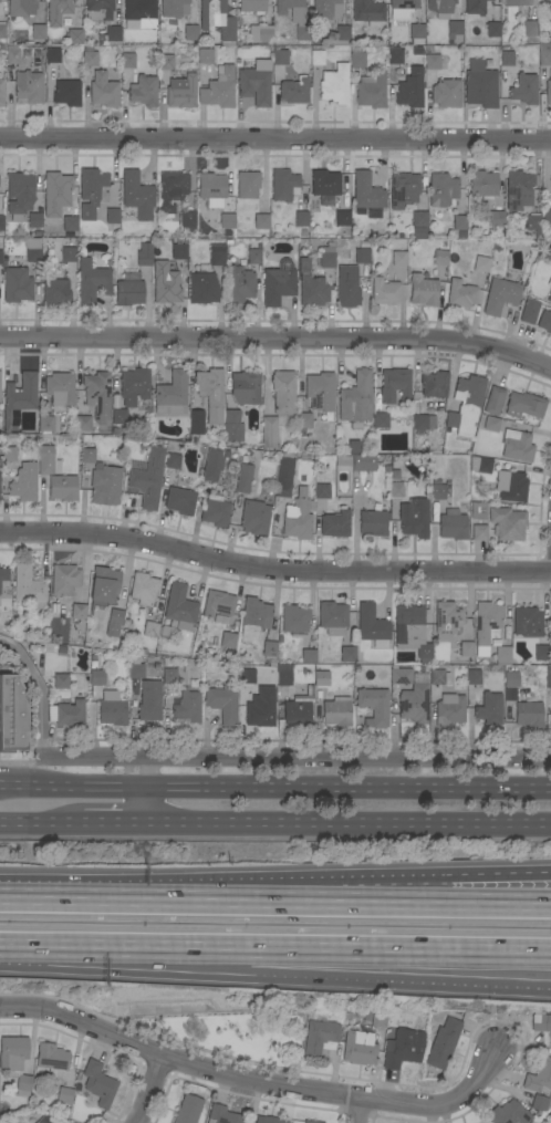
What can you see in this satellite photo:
building: (518, 2)
building: (547, 2)
building: (252, 6)
building: (403, 7)
building: (476, 7)
building: (21, 8)
building: (171, 8)
building: (441, 8)
building: (98, 9)
building: (328, 9)
building: (58, 10)
building: (141, 12)
building: (368, 12)
building: (211, 13)
building: (295, 17)
building: (65, 21)
building: (531, 28)
building: (455, 29)
building: (493, 29)
building: (228, 30)
building: (2, 31)
building: (39, 32)
building: (191, 32)
building: (417, 34)
building: (113, 35)
building: (261, 35)
building: (341, 35)
building: (74, 37)
building: (102, 39)
building: (418, 52)
building: (27, 53)
building: (12, 55)
building: (52, 55)
building: (90, 56)
building: (206, 56)
building: (280, 56)
building: (395, 56)
building: (316, 58)
building: (357, 58)
building: (432, 59)
building: (506, 59)
building: (127, 60)
building: (166, 62)
building: (37, 63)
building: (544, 70)
building: (254, 84)
building: (480, 84)
building: (335, 85)
building: (29, 87)
building: (219, 89)
building: (523, 89)
building: (104, 90)
building: (410, 90)
building: (144, 91)
building: (294, 91)
building: (372, 91)
building: (183, 92)
building: (1, 93)
building: (67, 93)
building: (446, 93)
road: (275, 139)
building: (482, 184)
building: (247, 185)
building: (283, 185)
building: (325, 186)
building: (404, 187)
building: (58, 188)
building: (211, 189)
building: (441, 189)
building: (519, 190)
building: (171, 191)
building: (366, 191)
building: (92, 193)
building: (20, 195)
building: (137, 195)
building: (112, 216)
building: (547, 216)
building: (342, 218)
building: (496, 218)
building: (302, 219)
building: (419, 219)
building: (34, 220)
building: (187, 220)
building: (227, 221)
building: (261, 221)
building: (459, 222)
building: (533, 222)
building: (1, 223)
building: (70, 223)
building: (228, 233)
building: (304, 233)
building: (229, 242)
building: (498, 246)
building: (33, 251)
building: (179, 251)
building: (69, 254)
building: (144, 254)
building: (217, 254)
building: (362, 254)
building: (545, 254)
building: (253, 256)
building: (328, 256)
building: (0, 257)
building: (398, 258)
building: (440, 258)
building: (481, 264)
building: (92, 282)
building: (165, 283)
building: (278, 283)
building: (347, 283)
building: (17, 284)
building: (239, 284)
building: (202, 287)
building: (313, 291)
building: (385, 291)
building: (423, 291)
building: (55, 292)
building: (128, 292)
building: (461, 293)
building: (500, 295)
building: (549, 298)
building: (529, 310)
building: (544, 321)
road: (278, 340)
building: (434, 384)
building: (395, 385)
building: (134, 386)
building: (246, 387)
building: (60, 389)
building: (320, 392)
building: (283, 393)
building: (211, 394)
building: (97, 395)
building: (355, 397)
building: (19, 401)
building: (176, 401)
building: (493, 401)
building: (115, 402)
building: (466, 404)
building: (524, 405)
building: (118, 416)
building: (330, 416)
building: (381, 420)
building: (430, 422)
building: (45, 423)
building: (83, 423)
building: (303, 423)
building: (419, 423)
building: (491, 424)
building: (355, 425)
building: (232, 426)
building: (269, 431)
building: (517, 446)
building: (353, 447)
building: (9, 454)
building: (87, 455)
building: (343, 460)
building: (48, 461)
building: (173, 461)
building: (364, 462)
building: (214, 464)
building: (480, 464)
building: (283, 475)
building: (243, 477)
building: (148, 479)
building: (398, 481)
building: (24, 482)
building: (105, 486)
building: (510, 486)
building: (63, 488)
building: (322, 491)
building: (438, 496)
building: (180, 500)
building: (215, 511)
building: (478, 511)
building: (298, 517)
building: (254, 518)
building: (414, 518)
building: (373, 522)
building: (334, 523)
building: (507, 523)
building: (451, 526)
building: (479, 532)
building: (489, 535)
road: (273, 571)
building: (4, 574)
building: (64, 581)
building: (104, 583)
building: (29, 588)
building: (144, 589)
building: (217, 603)
building: (92, 607)
building: (61, 609)
building: (174, 613)
building: (77, 615)
building: (332, 617)
building: (115, 620)
building: (220, 620)
building: (253, 620)
building: (294, 620)
building: (447, 620)
building: (487, 621)
building: (527, 622)
building: (408, 623)
building: (235, 625)
building: (372, 626)
building: (550, 630)
building: (507, 636)
building: (228, 640)
building: (60, 641)
building: (49, 648)
building: (56, 648)
building: (269, 648)
building: (466, 648)
building: (424, 653)
building: (347, 654)
building: (541, 654)
building: (502, 655)
building: (308, 656)
building: (136, 670)
building: (243, 674)
building: (168, 675)
building: (284, 675)
building: (401, 675)
building: (96, 677)
building: (438, 677)
building: (474, 677)
building: (548, 677)
building: (321, 678)
building: (511, 679)
building: (61, 680)
road: (39, 692)
building: (310, 693)
building: (319, 694)
building: (149, 700)
building: (222, 704)
building: (414, 704)
building: (187, 705)
building: (373, 706)
building: (261, 707)
building: (489, 708)
building: (112, 709)
building: (449, 709)
building: (336, 711)
building: (66, 713)
building: (297, 713)
building: (528, 714)
building: (13, 715)
road: (295, 760)
road: (274, 790)
road: (145, 792)
road: (41, 826)
road: (114, 826)
road: (347, 826)
road: (501, 895)
road: (171, 902)
road: (397, 905)
road: (501, 906)
road: (123, 943)
road: (398, 946)
road: (398, 960)
building: (374, 1019)
building: (541, 1021)
building: (319, 1038)
building: (443, 1043)
building: (360, 1048)
building: (403, 1048)
building: (52, 1060)
building: (15, 1062)
building: (539, 1077)
building: (98, 1083)
road: (254, 1084)
road: (147, 1092)
building: (64, 1094)
building: (539, 1103)
building: (188, 1110)
road: (357, 1111)
building: (508, 1113)
building: (222, 1115)
building: (51, 1120)
building: (269, 1120)
building: (72, 1121)
road: (549, 1121)
building: (310, 1122)

